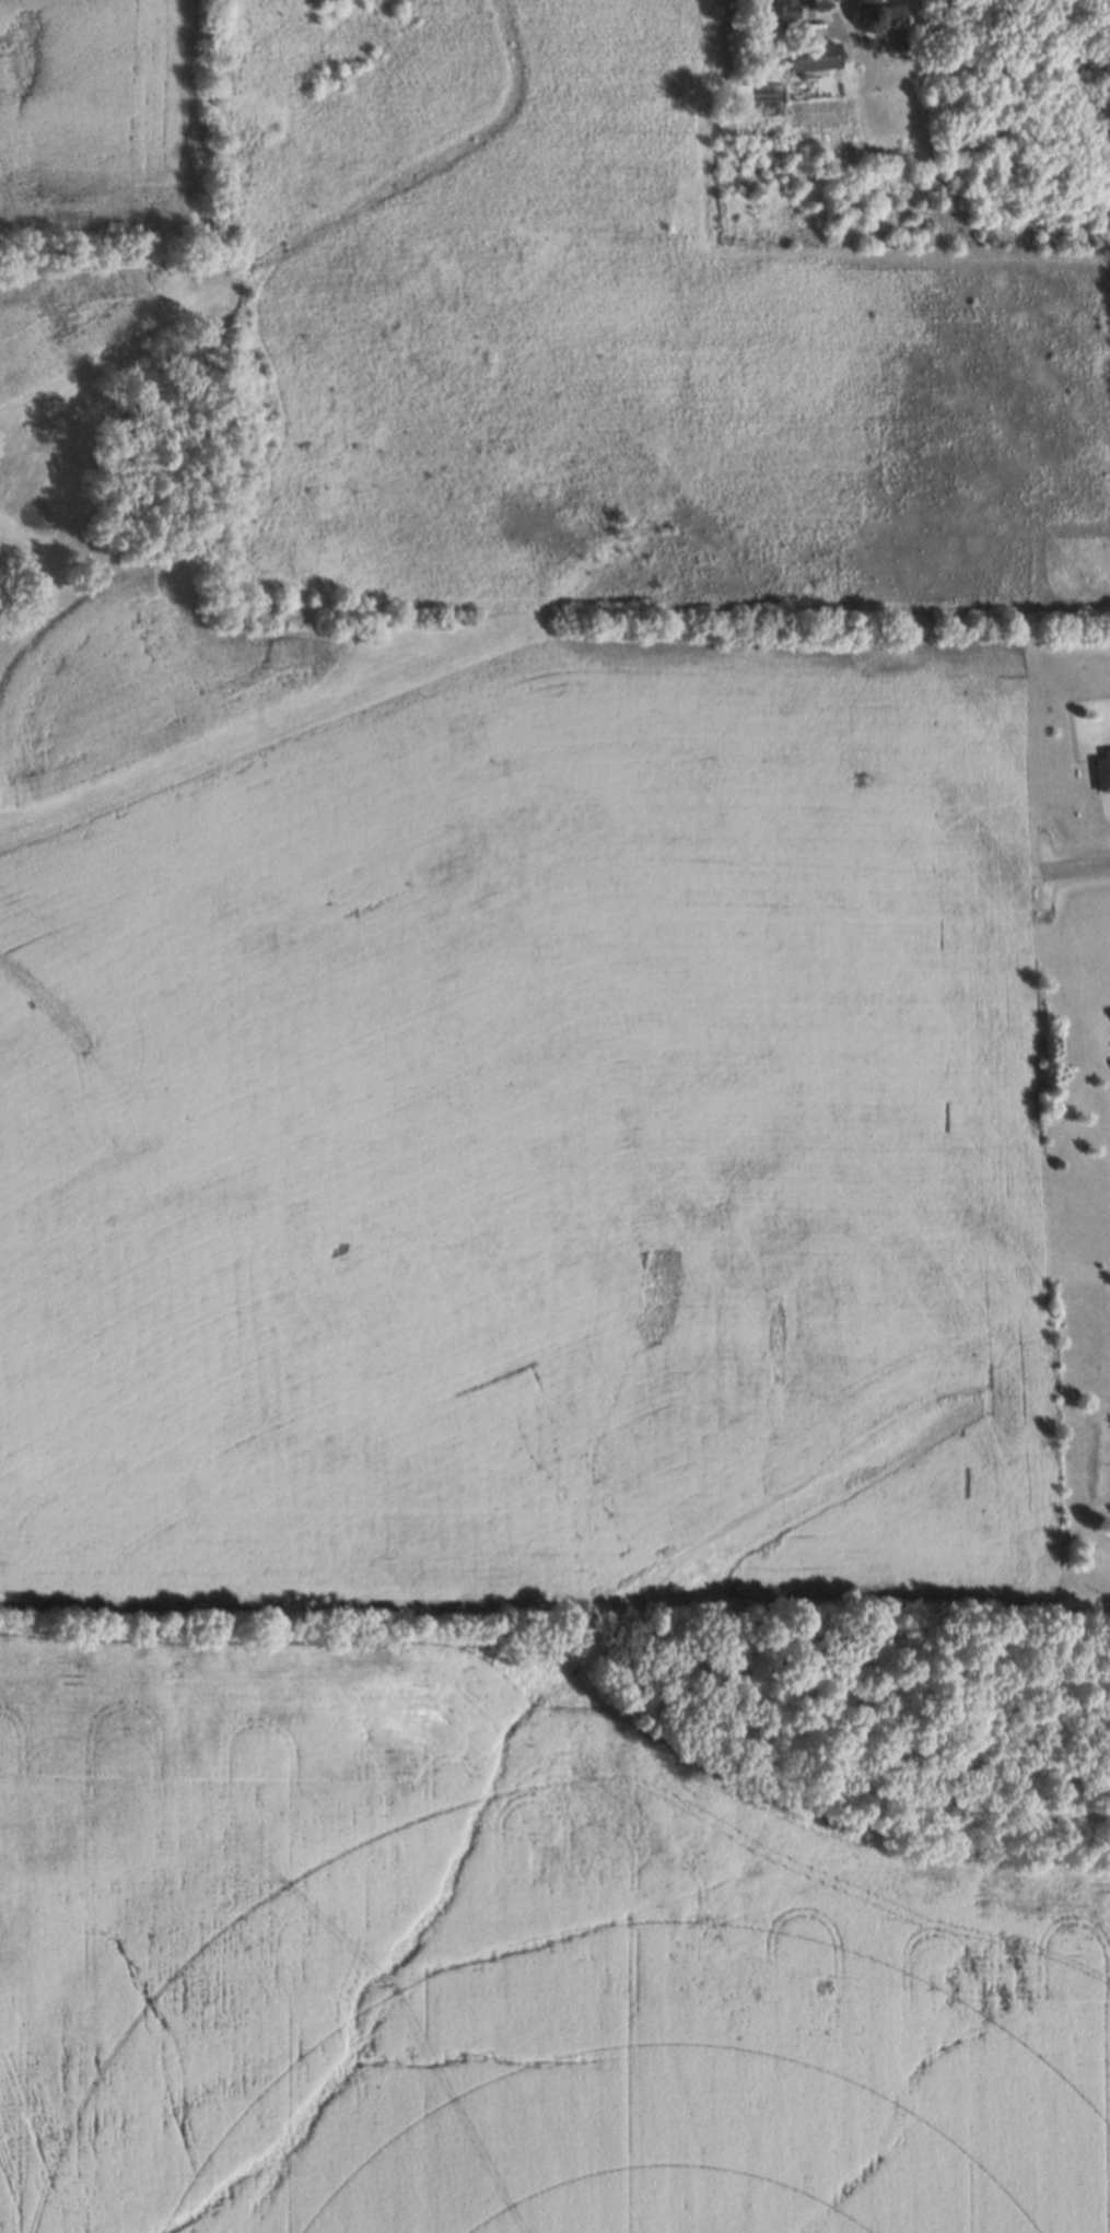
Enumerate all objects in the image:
building: (781, 11)
road: (833, 16)
building: (874, 38)
building: (813, 56)
building: (884, 130)
building: (1103, 769)
road: (1075, 864)

